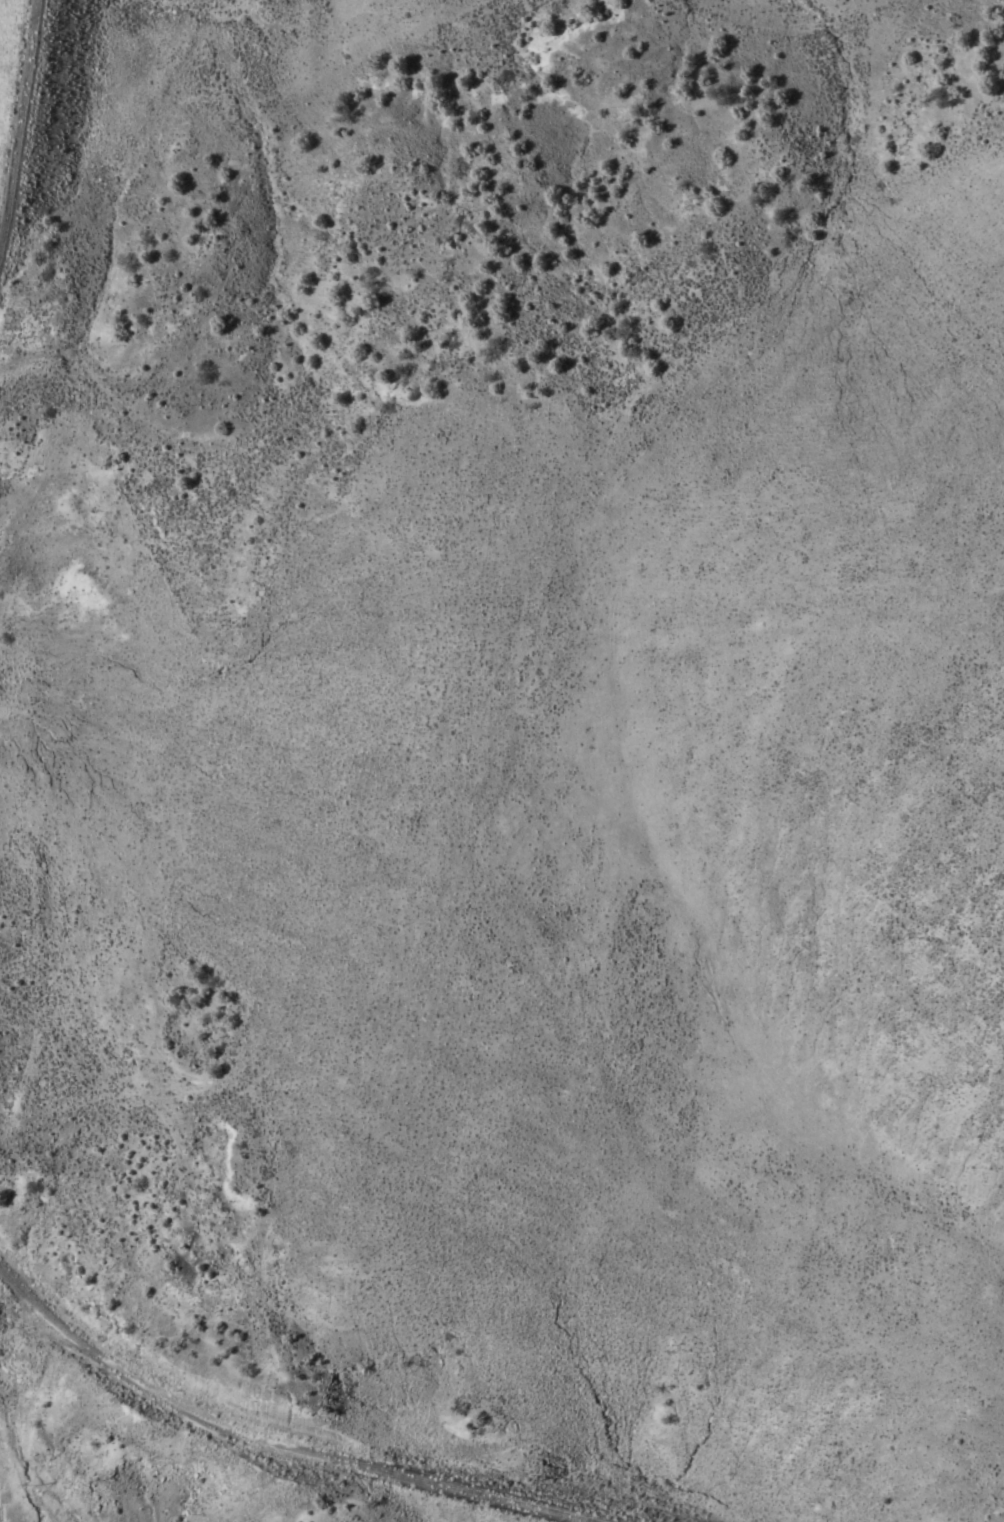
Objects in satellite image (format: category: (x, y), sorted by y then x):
railway: (35, 110)
railway: (4, 235)
railway: (278, 1445)

